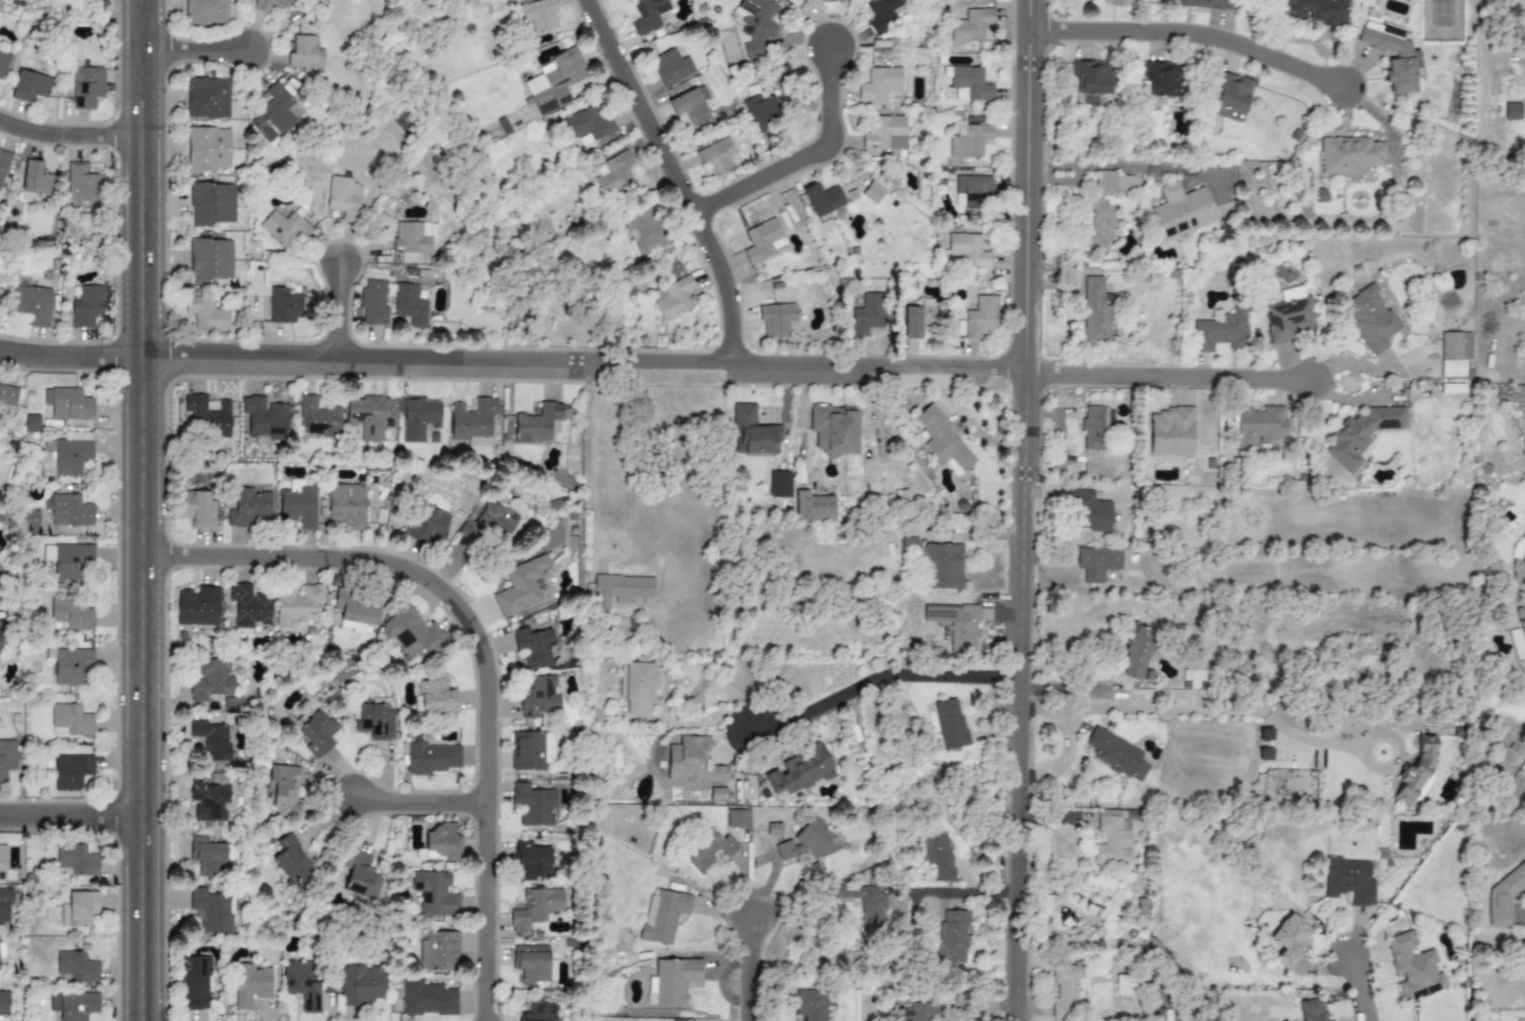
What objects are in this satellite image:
building: (811, 2)
building: (1118, 2)
building: (1206, 4)
building: (261, 7)
building: (208, 11)
building: (1316, 11)
building: (882, 14)
building: (648, 15)
building: (538, 16)
road: (1196, 23)
building: (970, 25)
building: (755, 27)
road: (198, 47)
building: (305, 53)
building: (1403, 58)
building: (3, 62)
building: (671, 67)
building: (559, 80)
building: (1090, 80)
building: (1163, 80)
building: (967, 83)
building: (878, 85)
building: (29, 86)
building: (86, 86)
building: (1230, 96)
building: (208, 98)
building: (684, 102)
building: (766, 105)
building: (1511, 111)
building: (272, 116)
building: (586, 126)
road: (73, 127)
building: (493, 131)
building: (884, 133)
building: (968, 140)
building: (208, 150)
road: (807, 150)
building: (1349, 154)
building: (718, 157)
building: (3, 163)
road: (1090, 166)
road: (1183, 168)
road: (680, 176)
building: (35, 178)
building: (82, 183)
building: (872, 192)
building: (971, 192)
building: (343, 198)
building: (822, 200)
building: (212, 204)
building: (1107, 205)
building: (1181, 211)
building: (285, 228)
building: (644, 232)
building: (412, 239)
building: (761, 240)
building: (968, 250)
building: (210, 260)
building: (0, 290)
building: (674, 299)
building: (373, 303)
building: (32, 304)
building: (409, 305)
building: (284, 306)
building: (85, 307)
road: (342, 308)
building: (1097, 310)
building: (206, 314)
building: (867, 315)
building: (981, 316)
building: (1370, 317)
building: (1288, 318)
building: (776, 319)
building: (918, 321)
building: (1222, 331)
building: (1454, 353)
road: (516, 358)
road: (1363, 370)
road: (1162, 377)
building: (7, 395)
building: (68, 403)
building: (207, 413)
building: (317, 417)
building: (417, 417)
building: (265, 420)
building: (537, 423)
building: (1260, 426)
building: (1093, 428)
building: (835, 429)
building: (752, 433)
building: (1170, 433)
building: (1360, 435)
building: (943, 441)
building: (70, 455)
road: (592, 461)
building: (779, 484)
building: (345, 503)
building: (298, 505)
building: (812, 507)
building: (249, 508)
building: (69, 510)
road: (143, 510)
building: (198, 510)
road: (1032, 510)
building: (1084, 511)
building: (430, 524)
building: (487, 525)
building: (70, 560)
building: (943, 566)
building: (1102, 568)
building: (1, 575)
building: (520, 586)
building: (0, 587)
building: (619, 590)
building: (249, 606)
building: (198, 607)
building: (299, 607)
building: (353, 613)
building: (71, 615)
building: (1521, 624)
building: (955, 625)
building: (413, 634)
building: (1, 639)
road: (480, 646)
building: (534, 647)
building: (1139, 657)
building: (70, 665)
road: (883, 674)
building: (1192, 679)
building: (212, 681)
building: (637, 684)
building: (436, 695)
road: (1211, 711)
road: (696, 719)
building: (70, 720)
building: (950, 724)
building: (315, 732)
building: (212, 740)
building: (530, 750)
building: (1119, 757)
building: (7, 758)
building: (431, 758)
building: (691, 762)
building: (800, 770)
building: (70, 772)
building: (1419, 775)
building: (283, 789)
building: (721, 793)
building: (209, 800)
road: (418, 801)
building: (533, 804)
road: (71, 814)
building: (1133, 815)
building: (736, 818)
building: (1458, 827)
building: (440, 841)
building: (805, 841)
building: (1113, 842)
building: (706, 849)
building: (936, 854)
building: (208, 857)
building: (532, 859)
building: (75, 860)
building: (4, 864)
building: (294, 864)
building: (357, 875)
building: (1348, 883)
road: (963, 893)
building: (1504, 896)
building: (5, 903)
building: (868, 904)
building: (78, 908)
building: (535, 908)
building: (213, 911)
building: (663, 915)
building: (951, 937)
building: (1289, 941)
building: (438, 951)
building: (533, 964)
building: (76, 967)
road: (753, 967)
building: (1416, 969)
building: (674, 979)
road: (1363, 980)
building: (196, 982)
building: (302, 983)
building: (361, 984)
building: (1125, 985)
building: (250, 986)
building: (1070, 991)
building: (426, 998)
building: (4, 1002)
building: (812, 1004)
building: (73, 1005)
building: (1310, 1010)
building: (538, 1012)
building: (921, 1012)
building: (1159, 1015)

